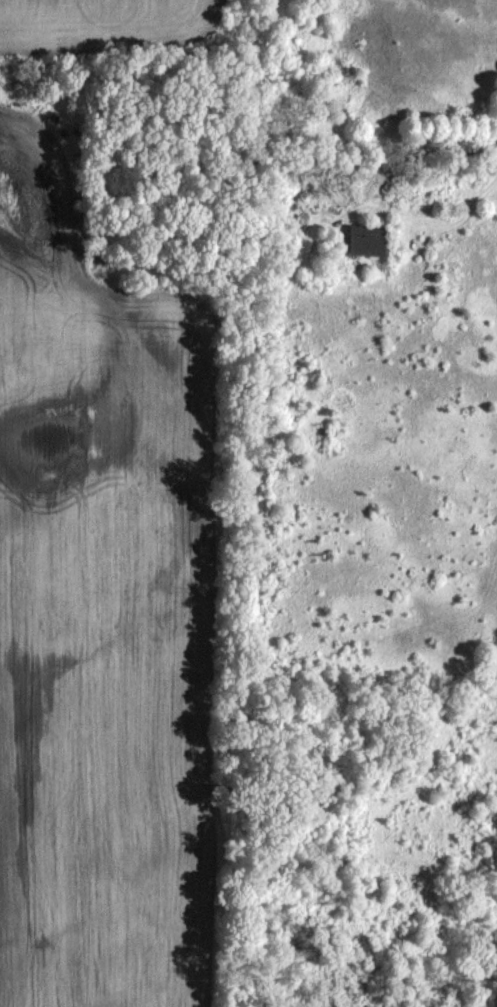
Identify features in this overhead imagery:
building: (372, 240)

